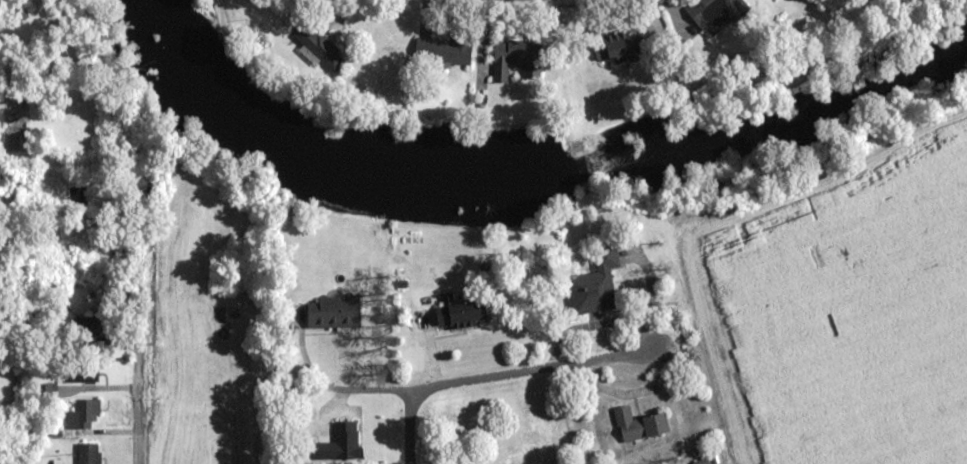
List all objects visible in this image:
building: (712, 12)
building: (318, 46)
building: (619, 46)
building: (445, 51)
building: (516, 59)
river: (521, 167)
building: (596, 286)
building: (335, 313)
building: (461, 316)
building: (86, 334)
road: (687, 350)
building: (77, 373)
road: (451, 386)
road: (114, 390)
building: (83, 414)
building: (639, 425)
building: (345, 441)
building: (89, 454)

